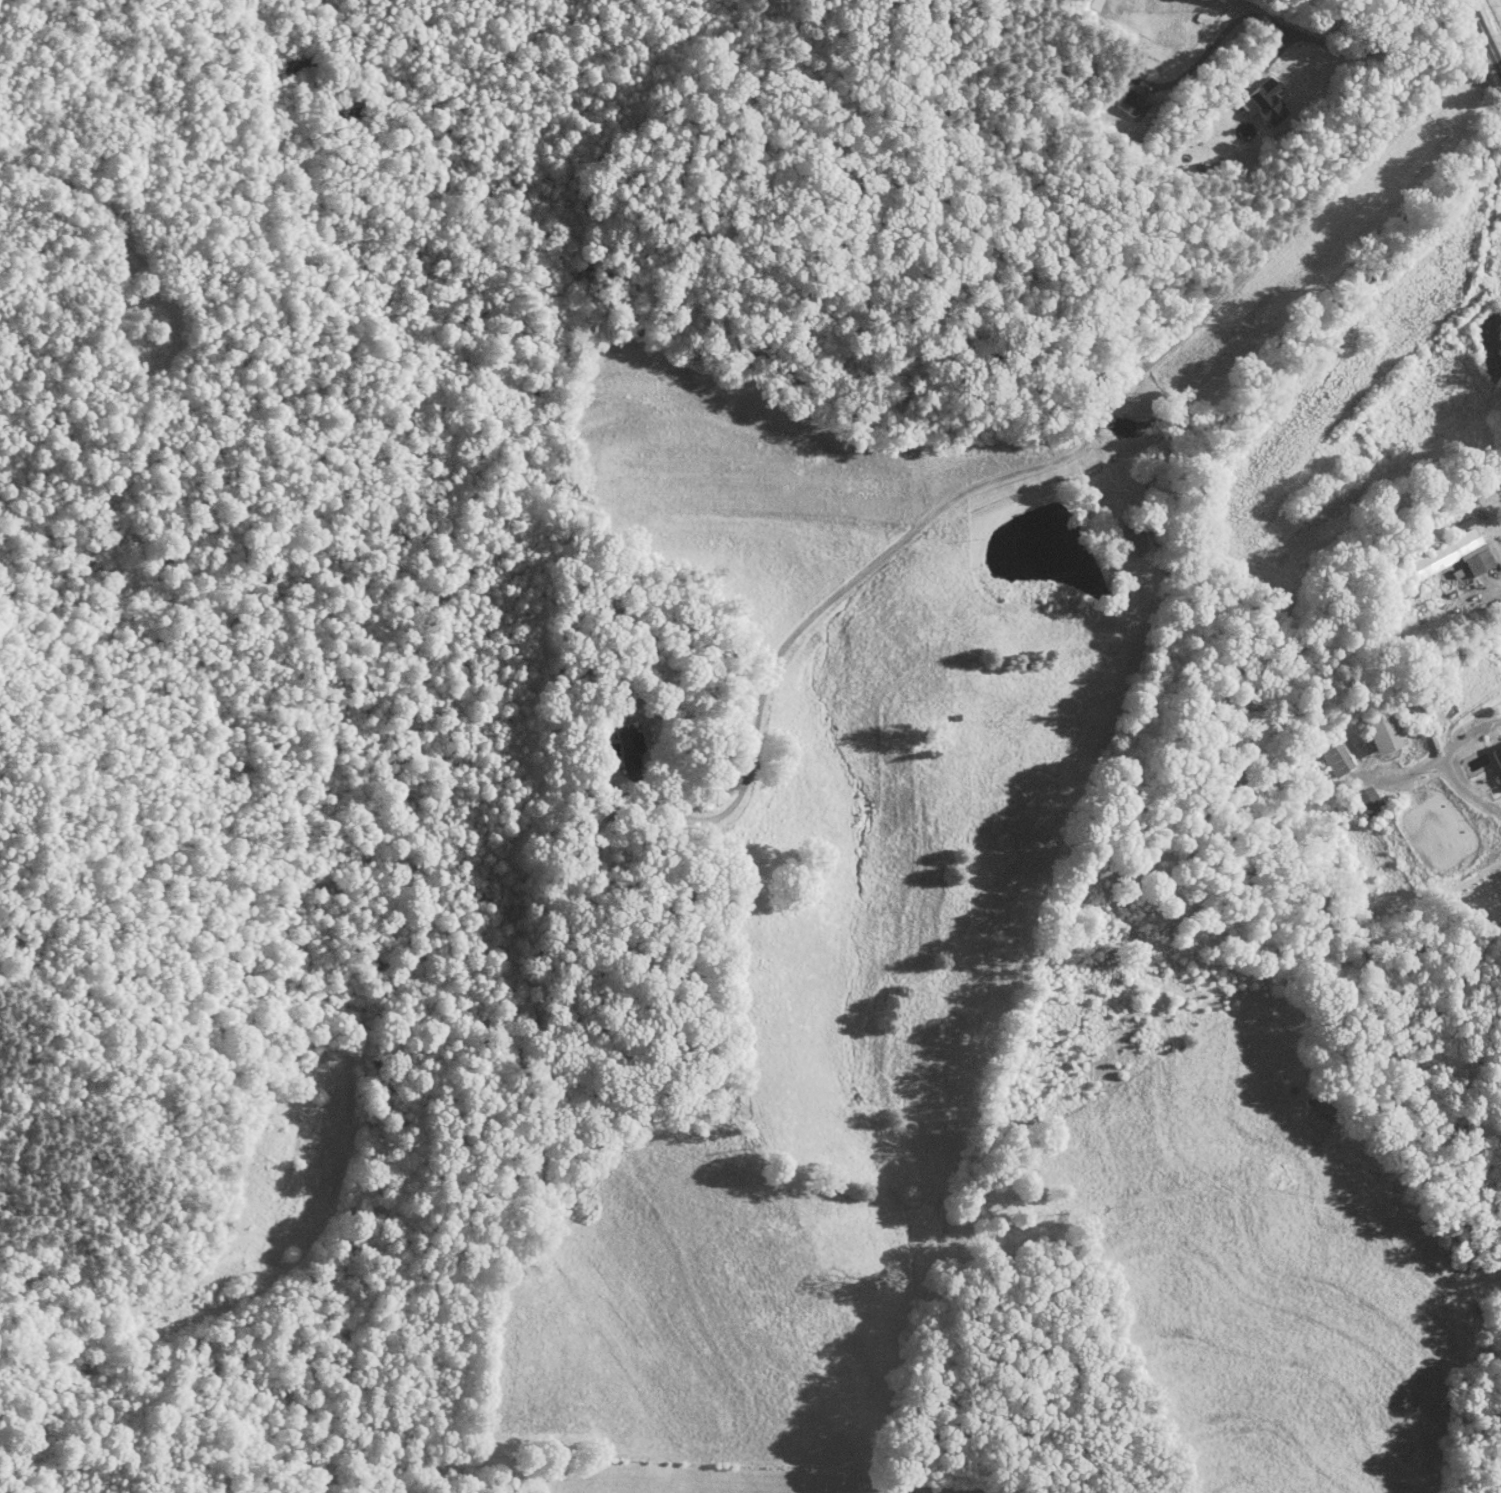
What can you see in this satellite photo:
road: (1281, 22)
road: (1486, 30)
building: (1262, 102)
building: (1131, 103)
road: (1045, 464)
building: (1453, 554)
building: (1383, 732)
building: (625, 738)
building: (1333, 755)
building: (1496, 755)
road: (1445, 762)
road: (1398, 777)
building: (1367, 801)

